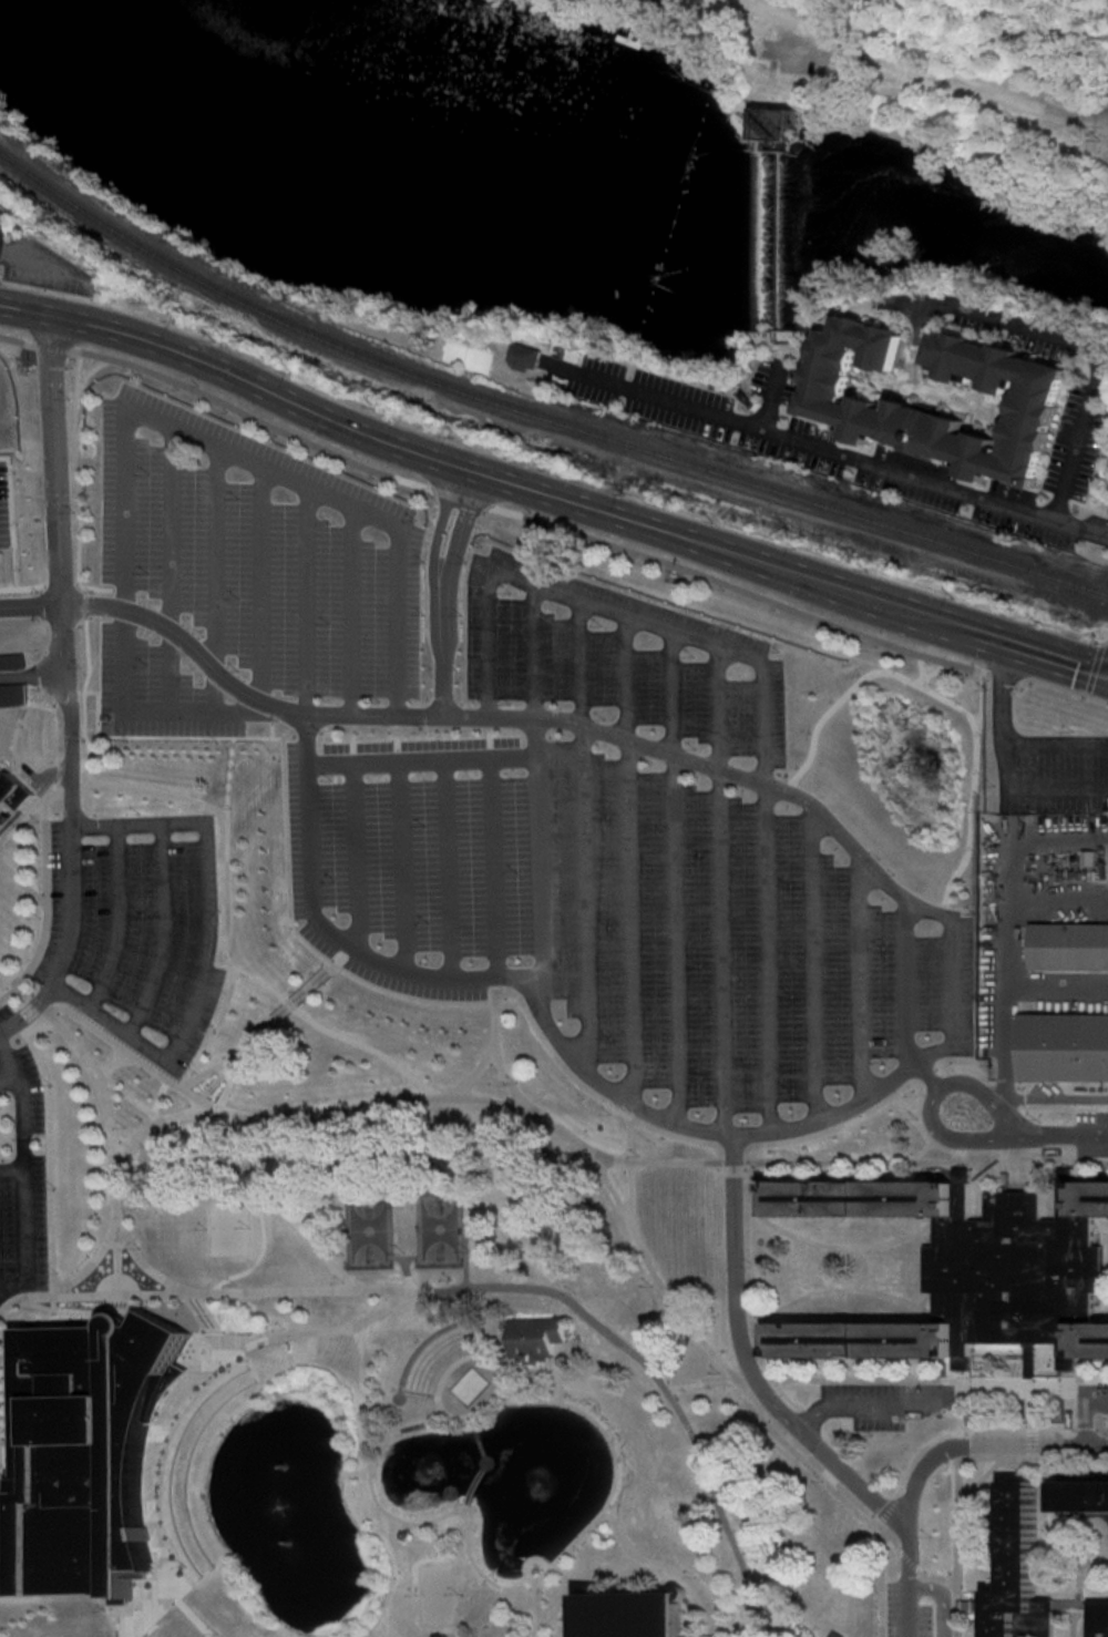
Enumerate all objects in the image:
building: (661, 4)
pier: (634, 32)
pier: (632, 37)
parking lot: (804, 58)
road: (921, 64)
park: (891, 86)
road: (849, 111)
road: (849, 123)
building: (780, 124)
road: (984, 133)
road: (911, 140)
river: (462, 154)
river: (1003, 223)
road: (49, 264)
road: (1, 280)
road: (50, 290)
road: (64, 317)
road: (17, 341)
road: (51, 347)
building: (567, 351)
park: (468, 355)
building: (525, 356)
road: (1097, 357)
road: (89, 369)
building: (742, 393)
building: (822, 398)
road: (300, 403)
railway: (534, 415)
road: (53, 419)
road: (259, 420)
road: (207, 446)
road: (824, 449)
road: (912, 450)
road: (1058, 494)
road: (463, 497)
parking lot: (3, 500)
road: (1088, 505)
road: (78, 523)
road: (740, 554)
road: (167, 571)
road: (212, 581)
road: (728, 584)
road: (442, 589)
road: (257, 590)
road: (305, 601)
road: (29, 603)
road: (348, 610)
road: (935, 637)
road: (1104, 641)
road: (1107, 642)
road: (531, 651)
road: (1057, 656)
building: (9, 659)
road: (1095, 666)
road: (63, 668)
road: (921, 668)
road: (934, 669)
road: (986, 671)
road: (1007, 674)
road: (32, 675)
road: (760, 679)
road: (1066, 688)
building: (10, 693)
road: (1087, 693)
road: (65, 695)
road: (979, 697)
road: (946, 700)
road: (38, 704)
road: (83, 712)
road: (266, 725)
road: (176, 726)
road: (54, 730)
road: (91, 739)
road: (85, 755)
road: (260, 755)
road: (417, 759)
road: (1106, 763)
road: (55, 771)
road: (47, 773)
road: (68, 784)
road: (82, 784)
parking lot: (521, 784)
building: (4, 790)
road: (28, 811)
road: (581, 836)
road: (1056, 839)
road: (351, 856)
road: (534, 858)
road: (626, 859)
road: (397, 864)
road: (443, 867)
road: (489, 867)
parking lot: (1042, 872)
road: (673, 876)
road: (23, 881)
road: (1006, 886)
road: (719, 888)
road: (1057, 897)
road: (45, 908)
road: (119, 918)
road: (287, 928)
parking lot: (134, 929)
road: (164, 931)
road: (70, 939)
road: (207, 943)
building: (1069, 945)
road: (332, 956)
road: (812, 964)
road: (858, 979)
road: (903, 984)
road: (952, 984)
road: (1057, 991)
road: (288, 1004)
road: (493, 1045)
building: (1063, 1046)
road: (233, 1063)
road: (967, 1067)
road: (212, 1072)
parking lot: (22, 1073)
road: (472, 1073)
road: (930, 1074)
road: (9, 1076)
road: (929, 1080)
road: (230, 1084)
road: (999, 1085)
road: (588, 1091)
road: (162, 1095)
road: (932, 1097)
road: (1058, 1097)
road: (24, 1098)
road: (456, 1098)
road: (919, 1098)
parking lot: (1, 1102)
road: (904, 1106)
road: (162, 1119)
road: (113, 1124)
road: (835, 1126)
road: (1058, 1130)
road: (936, 1143)
road: (732, 1146)
road: (733, 1147)
road: (922, 1150)
road: (1016, 1153)
road: (1071, 1158)
road: (733, 1160)
road: (870, 1160)
road: (656, 1162)
road: (217, 1164)
road: (628, 1164)
road: (13, 1169)
building: (859, 1197)
building: (1084, 1197)
road: (260, 1214)
parking lot: (24, 1219)
road: (1102, 1222)
park: (228, 1225)
park: (439, 1227)
park: (369, 1228)
road: (28, 1240)
road: (839, 1245)
road: (120, 1260)
road: (92, 1263)
building: (536, 1263)
building: (1012, 1272)
road: (747, 1286)
road: (481, 1288)
road: (732, 1288)
road: (840, 1289)
road: (889, 1295)
road: (447, 1299)
road: (790, 1301)
road: (468, 1306)
road: (82, 1309)
road: (1102, 1311)
road: (332, 1328)
building: (533, 1336)
building: (859, 1338)
building: (1080, 1341)
road: (1015, 1347)
road: (419, 1348)
road: (997, 1350)
road: (1028, 1350)
park: (464, 1351)
road: (461, 1357)
road: (1014, 1362)
road: (0, 1378)
road: (736, 1379)
road: (751, 1379)
road: (935, 1379)
parking lot: (1099, 1393)
flagpole: (532, 1398)
parking lot: (875, 1401)
road: (868, 1406)
road: (1085, 1412)
road: (1, 1414)
road: (802, 1415)
road: (1032, 1418)
road: (469, 1420)
road: (1034, 1422)
road: (950, 1424)
road: (947, 1429)
building: (85, 1452)
road: (1033, 1456)
fountain: (274, 1457)
road: (930, 1461)
fountain: (425, 1463)
road: (482, 1464)
road: (837, 1465)
road: (904, 1474)
road: (981, 1476)
fountain: (529, 1479)
road: (150, 1483)
building: (1081, 1494)
fountain: (287, 1505)
road: (464, 1506)
road: (958, 1507)
road: (1079, 1522)
road: (1055, 1527)
road: (891, 1538)
fountain: (302, 1541)
flagpole: (541, 1557)
flagpole: (529, 1558)
road: (906, 1559)
road: (1094, 1563)
road: (661, 1566)
flagpole: (522, 1569)
building: (1019, 1573)
road: (484, 1575)
road: (935, 1576)
road: (771, 1582)
park: (437, 1593)
road: (942, 1595)
road: (20, 1598)
road: (122, 1608)
road: (536, 1608)
road: (192, 1610)
parking lot: (904, 1612)
building: (630, 1614)
road: (1077, 1617)
building: (1101, 1618)
road: (802, 1619)
road: (721, 1624)
building: (837, 1634)

